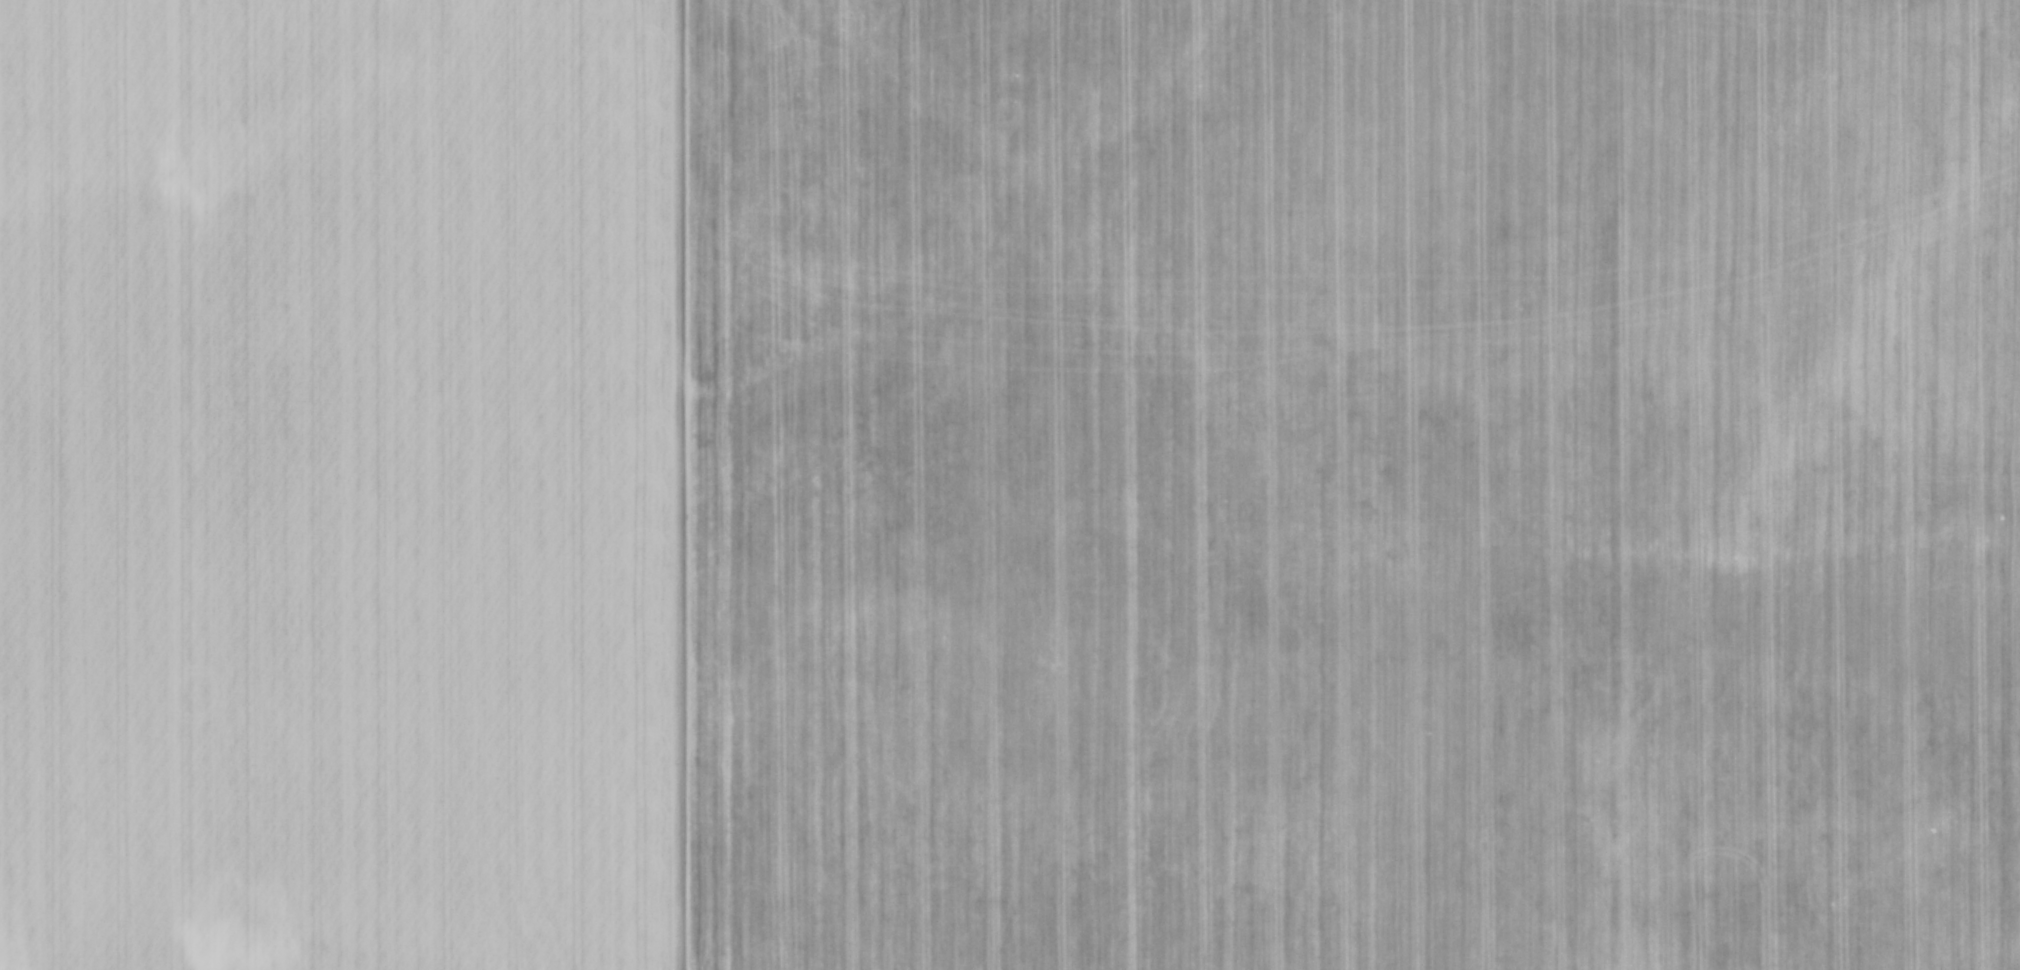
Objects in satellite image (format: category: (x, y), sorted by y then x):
road: (675, 485)

